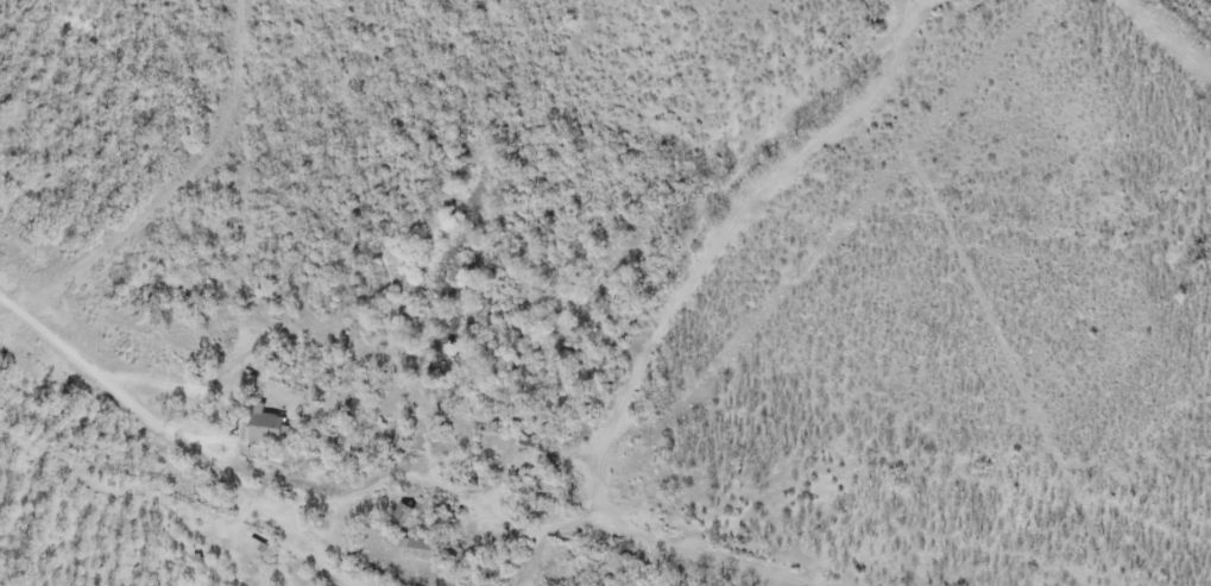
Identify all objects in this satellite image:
road: (86, 370)
building: (263, 428)
building: (400, 515)

